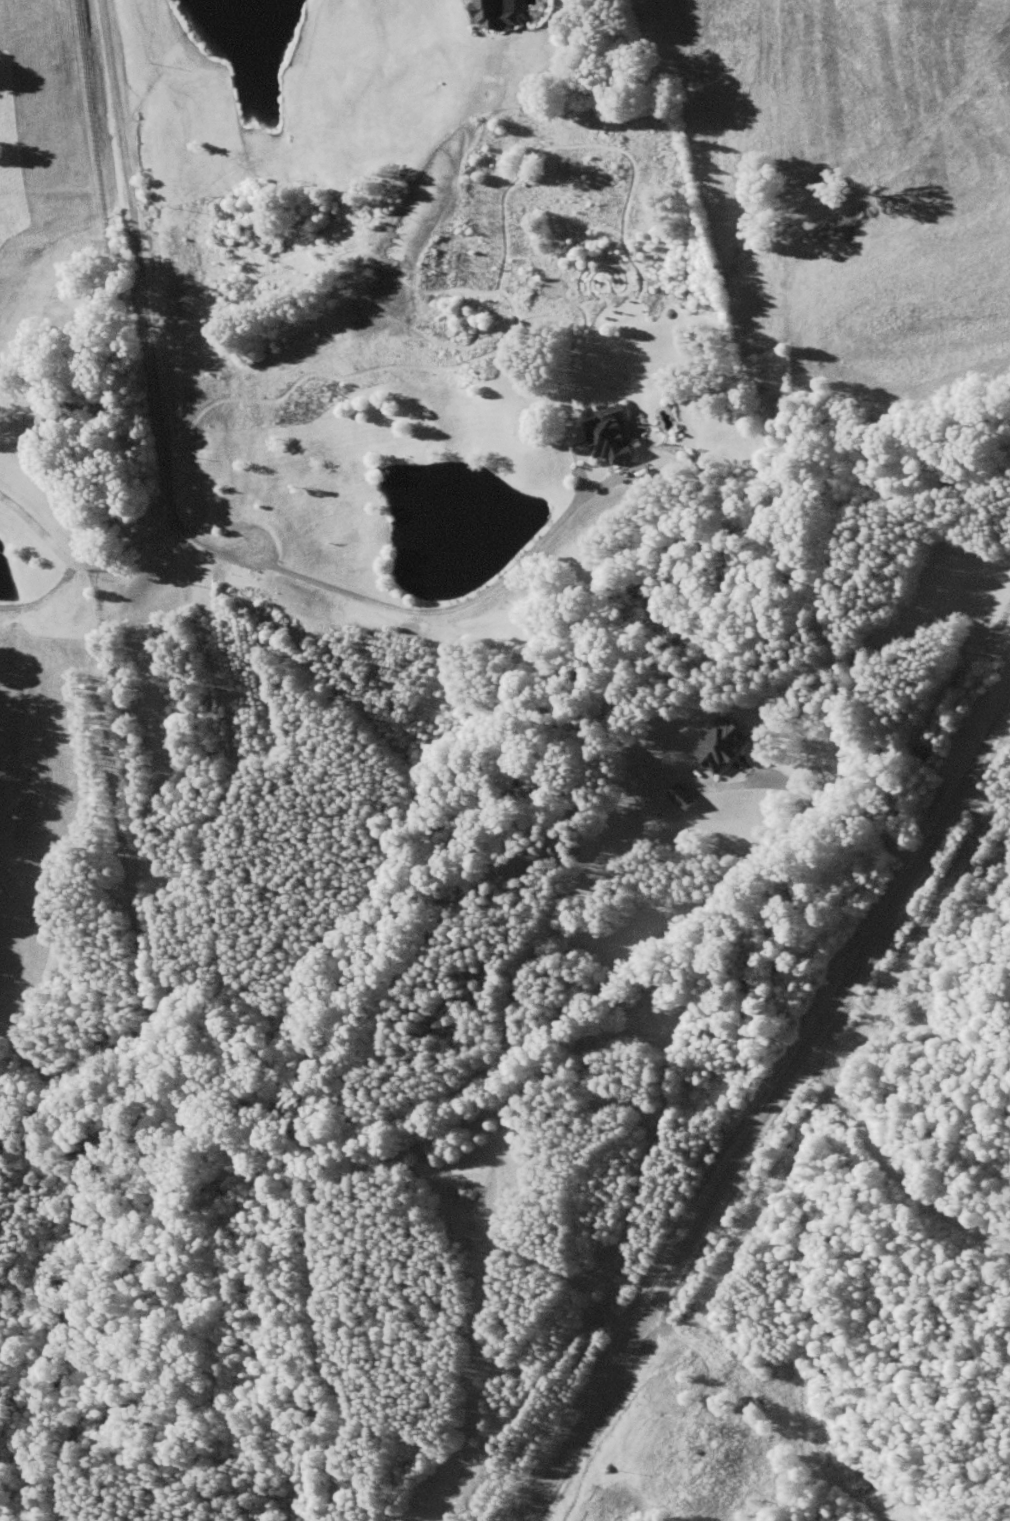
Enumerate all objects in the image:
road: (166, 509)
road: (76, 560)
building: (722, 746)
road: (765, 1107)

